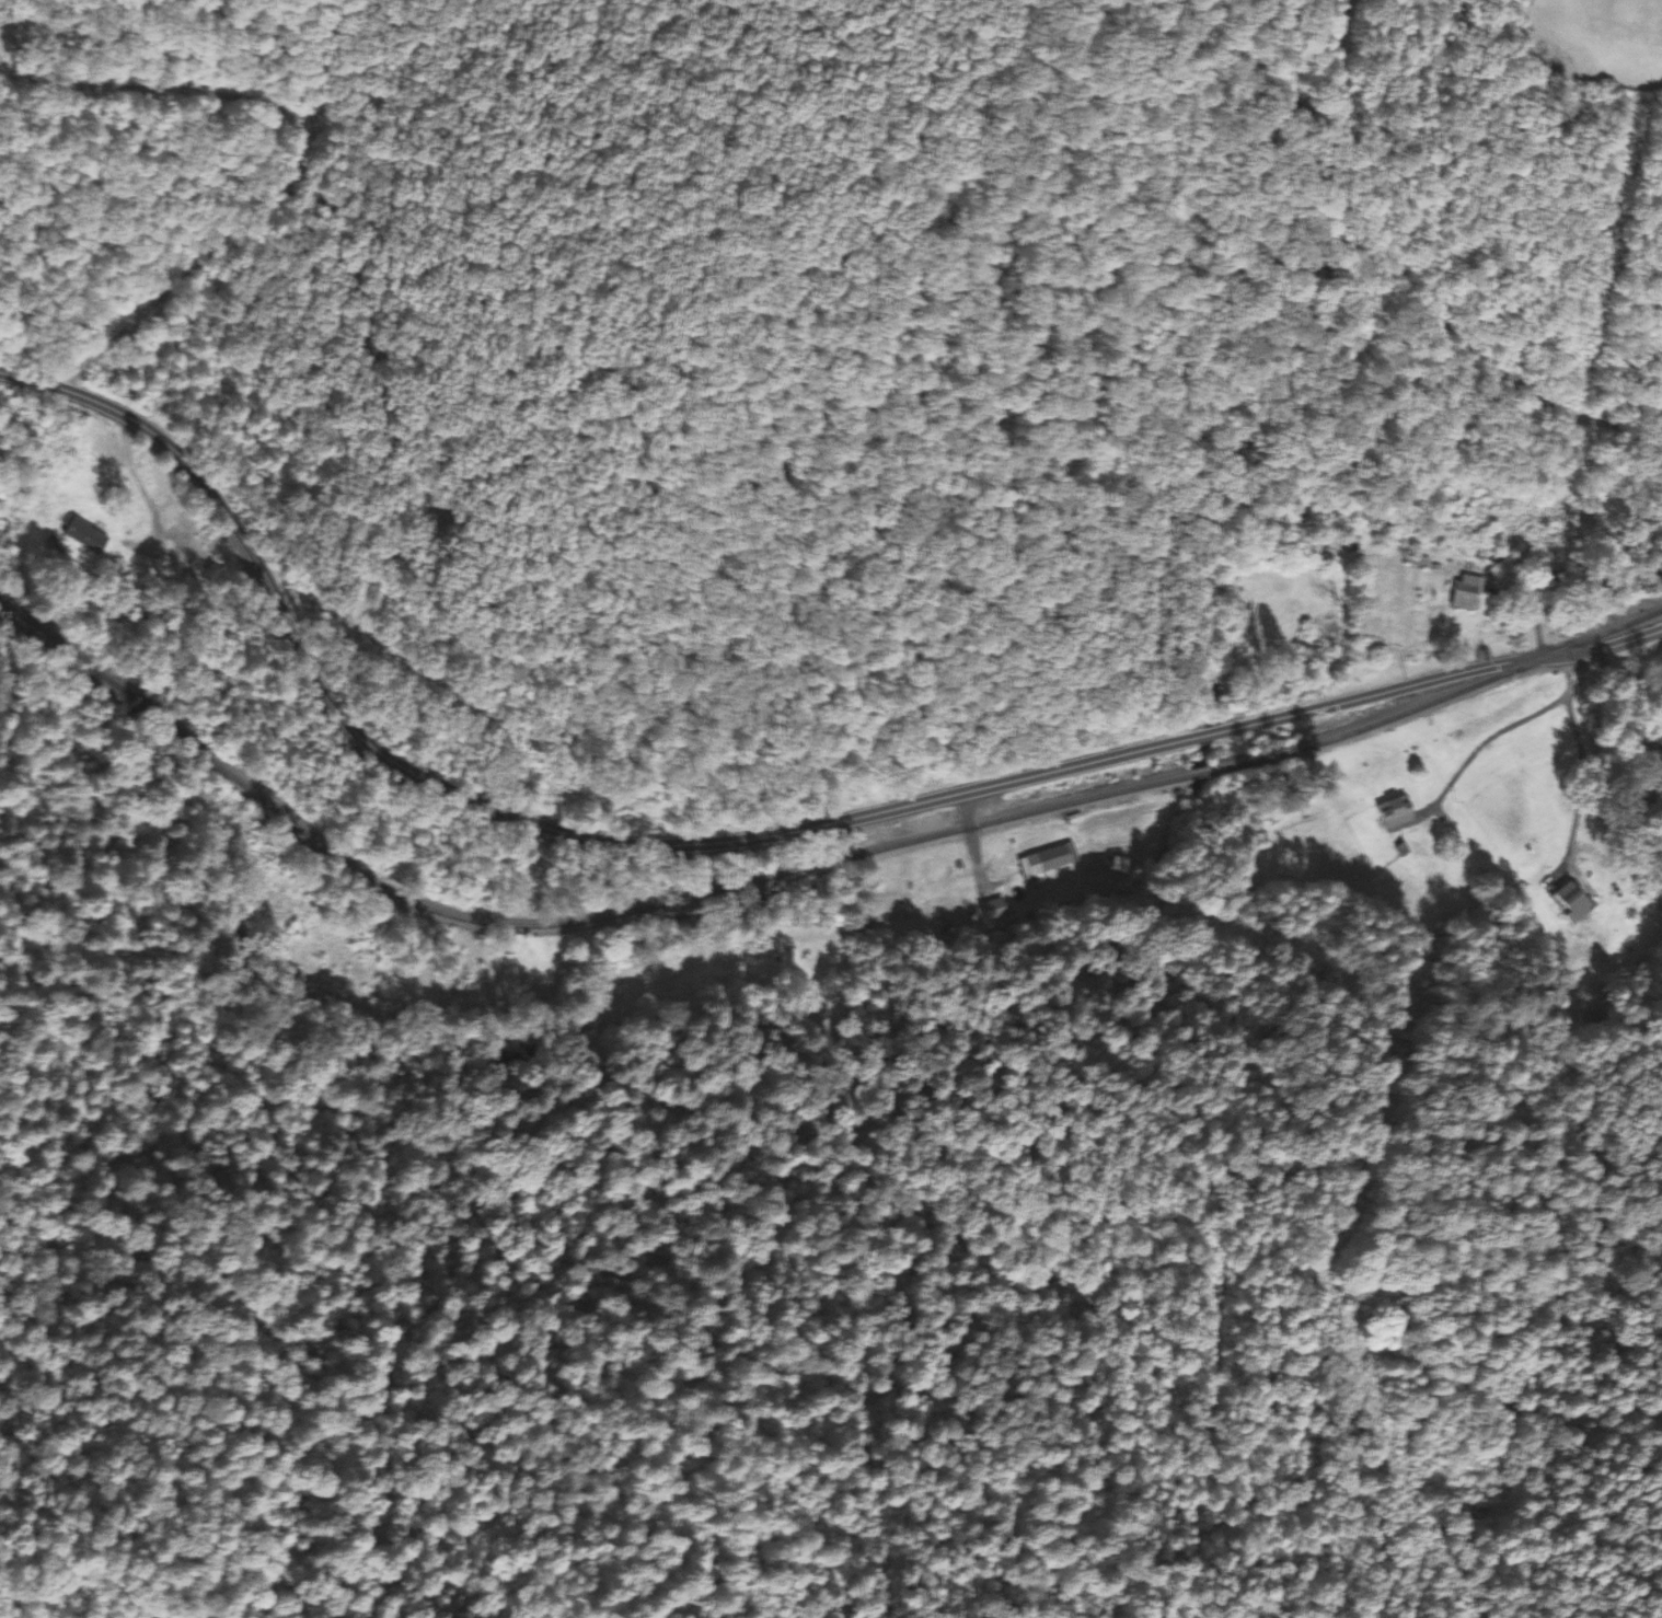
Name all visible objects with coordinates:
road: (1426, 293)
building: (1306, 523)
building: (83, 535)
building: (1467, 594)
railway: (19, 623)
road: (1605, 648)
building: (1396, 812)
road: (973, 841)
road: (685, 847)
building: (1055, 858)
building: (1119, 866)
railway: (797, 868)
building: (1573, 902)
building: (994, 912)
road: (1477, 1551)

